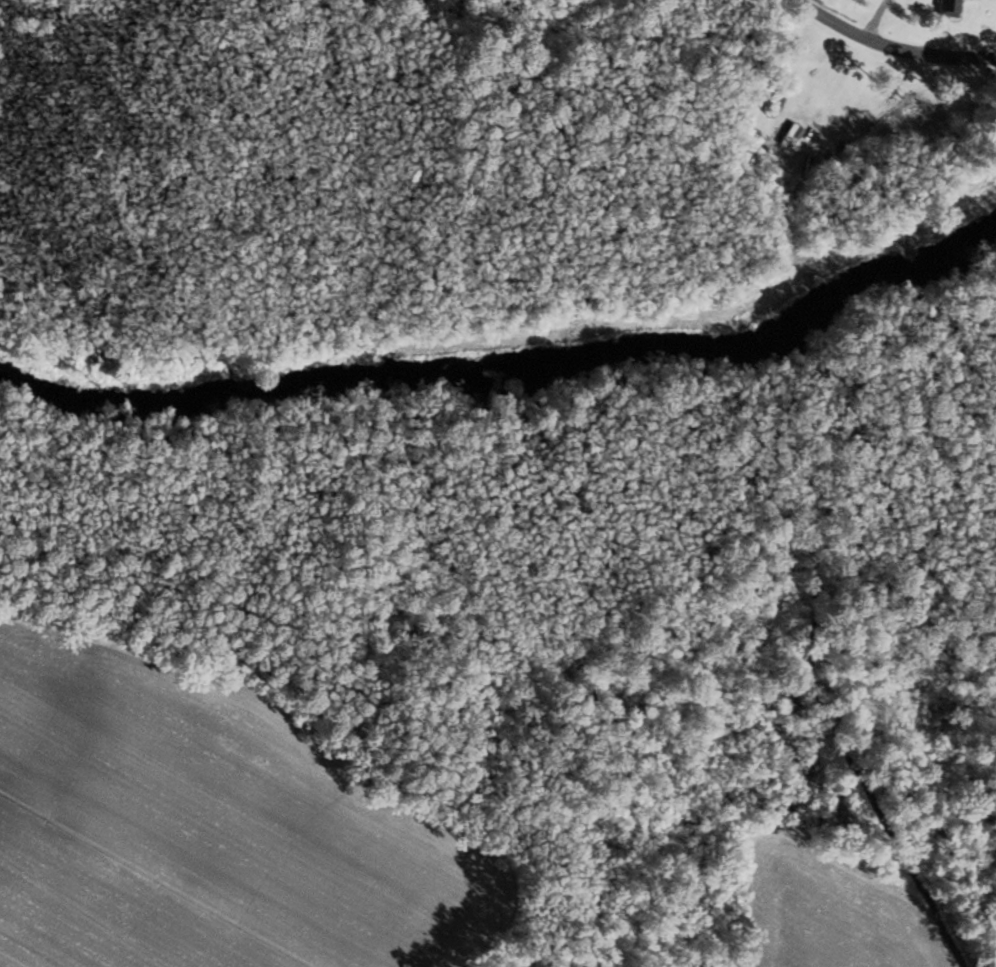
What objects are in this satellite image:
building: (949, 7)
road: (885, 51)

